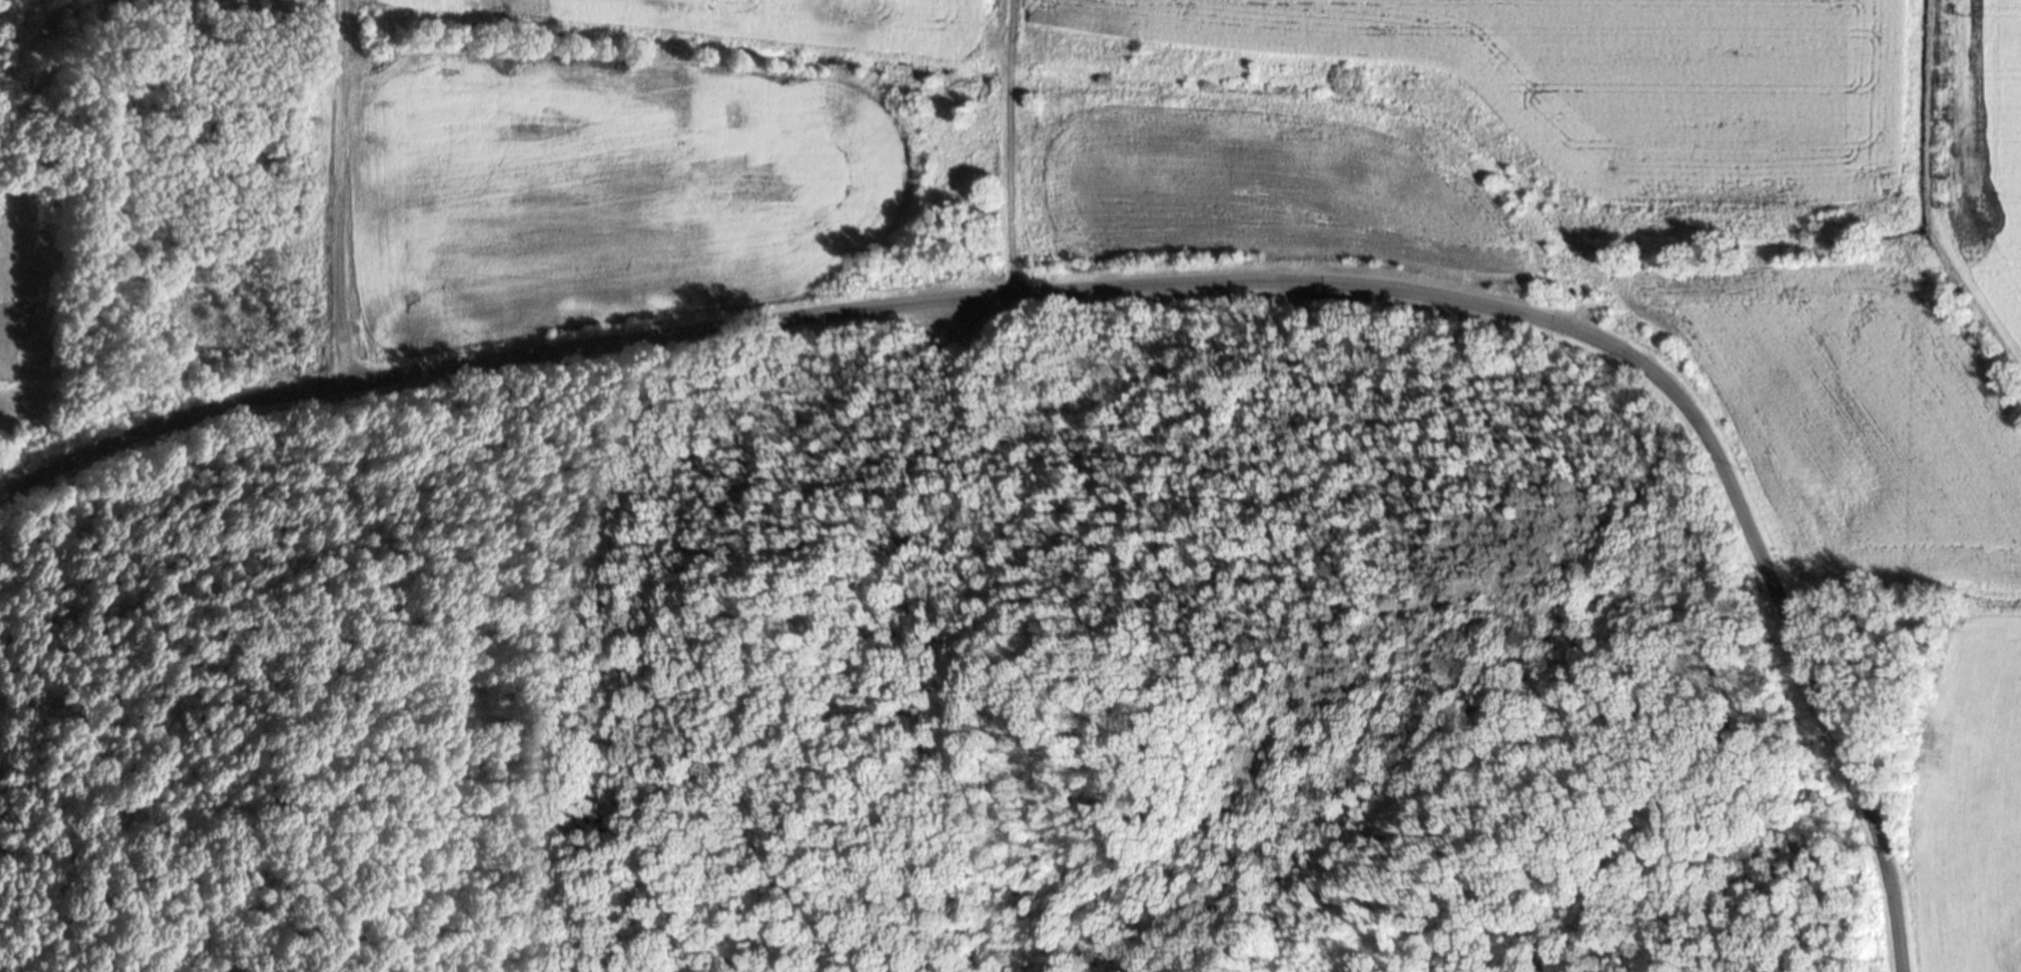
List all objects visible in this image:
building: (287, 167)
road: (335, 193)
road: (1147, 286)

